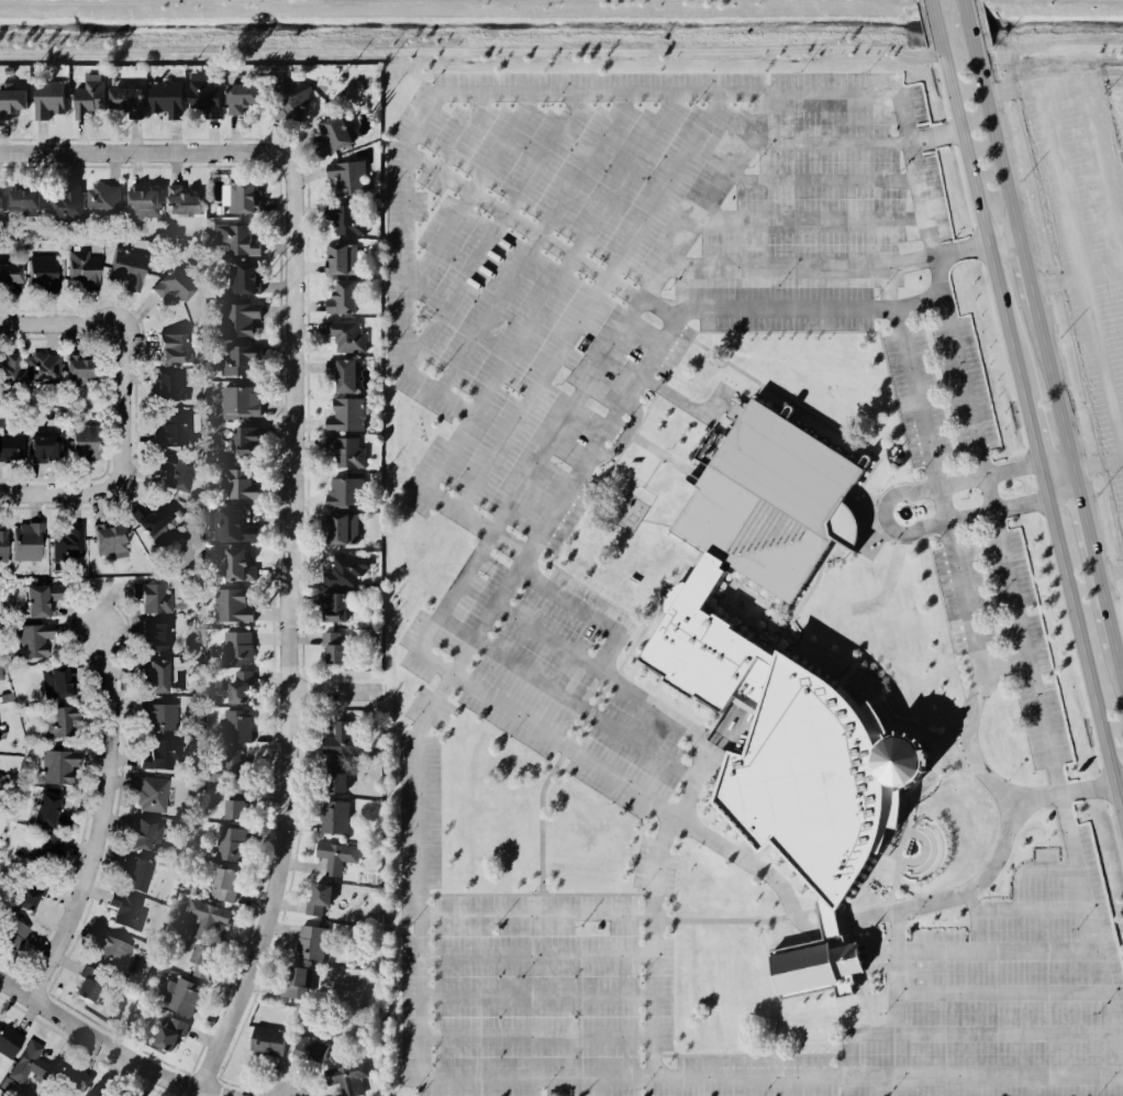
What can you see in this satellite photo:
road: (968, 25)
road: (935, 29)
building: (7, 70)
road: (1053, 84)
building: (88, 95)
building: (244, 95)
building: (205, 96)
building: (48, 97)
building: (167, 97)
building: (127, 99)
building: (291, 99)
building: (10, 100)
road: (424, 104)
building: (341, 131)
road: (458, 132)
road: (850, 144)
road: (996, 144)
road: (140, 152)
road: (1101, 173)
building: (347, 178)
road: (819, 178)
road: (466, 190)
building: (244, 198)
building: (103, 200)
building: (0, 201)
building: (145, 201)
building: (65, 202)
building: (184, 202)
building: (25, 203)
building: (349, 219)
road: (809, 220)
road: (522, 224)
road: (982, 229)
road: (491, 231)
building: (235, 239)
parking lot: (1086, 240)
road: (1002, 241)
road: (530, 242)
building: (344, 257)
building: (130, 267)
road: (825, 267)
road: (1078, 269)
road: (1122, 269)
building: (82, 270)
road: (1025, 270)
road: (1101, 272)
building: (44, 274)
building: (10, 276)
building: (244, 279)
road: (1055, 281)
building: (176, 287)
road: (883, 289)
building: (345, 298)
road: (588, 302)
road: (638, 305)
road: (922, 305)
road: (659, 310)
road: (726, 311)
building: (240, 319)
road: (60, 324)
road: (527, 324)
building: (347, 334)
building: (174, 347)
building: (236, 361)
building: (43, 365)
building: (8, 368)
building: (80, 370)
building: (344, 373)
building: (170, 387)
road: (1053, 387)
building: (242, 399)
road: (121, 405)
building: (348, 414)
parking lot: (948, 427)
building: (178, 430)
building: (248, 440)
road: (1032, 441)
building: (87, 444)
building: (11, 445)
building: (46, 449)
building: (348, 451)
road: (1098, 464)
road: (982, 472)
building: (177, 473)
road: (1057, 476)
building: (241, 485)
road: (57, 492)
building: (347, 492)
building: (769, 503)
road: (1081, 510)
road: (883, 517)
building: (160, 522)
building: (229, 524)
building: (345, 527)
building: (110, 540)
building: (27, 542)
building: (68, 542)
building: (3, 546)
building: (237, 562)
building: (345, 569)
road: (1110, 572)
building: (153, 597)
building: (37, 600)
road: (571, 601)
building: (234, 604)
building: (336, 607)
road: (1107, 620)
road: (287, 632)
road: (98, 636)
building: (158, 638)
building: (32, 642)
building: (237, 646)
building: (335, 647)
road: (422, 652)
road: (1082, 655)
road: (587, 666)
road: (977, 674)
building: (160, 676)
building: (0, 677)
building: (62, 682)
building: (241, 685)
road: (333, 689)
building: (353, 689)
building: (4, 698)
road: (576, 707)
building: (159, 718)
building: (60, 723)
building: (237, 724)
building: (344, 739)
road: (568, 744)
building: (157, 756)
building: (59, 767)
building: (226, 767)
building: (336, 777)
building: (1, 783)
road: (1118, 783)
building: (154, 795)
building: (236, 808)
building: (52, 812)
building: (335, 817)
road: (99, 827)
building: (148, 837)
building: (232, 842)
building: (45, 851)
building: (336, 854)
building: (142, 875)
building: (224, 883)
building: (26, 895)
building: (321, 898)
building: (129, 912)
building: (205, 916)
road: (536, 916)
road: (654, 925)
building: (10, 937)
building: (313, 942)
building: (112, 949)
road: (536, 953)
building: (203, 959)
parking lot: (981, 960)
building: (296, 981)
building: (89, 984)
building: (185, 996)
road: (536, 998)
building: (167, 1032)
road: (537, 1037)
building: (8, 1041)
building: (268, 1041)
road: (107, 1047)
building: (318, 1050)
building: (27, 1065)
building: (74, 1078)
building: (344, 1078)
road: (546, 1078)
building: (101, 1091)

